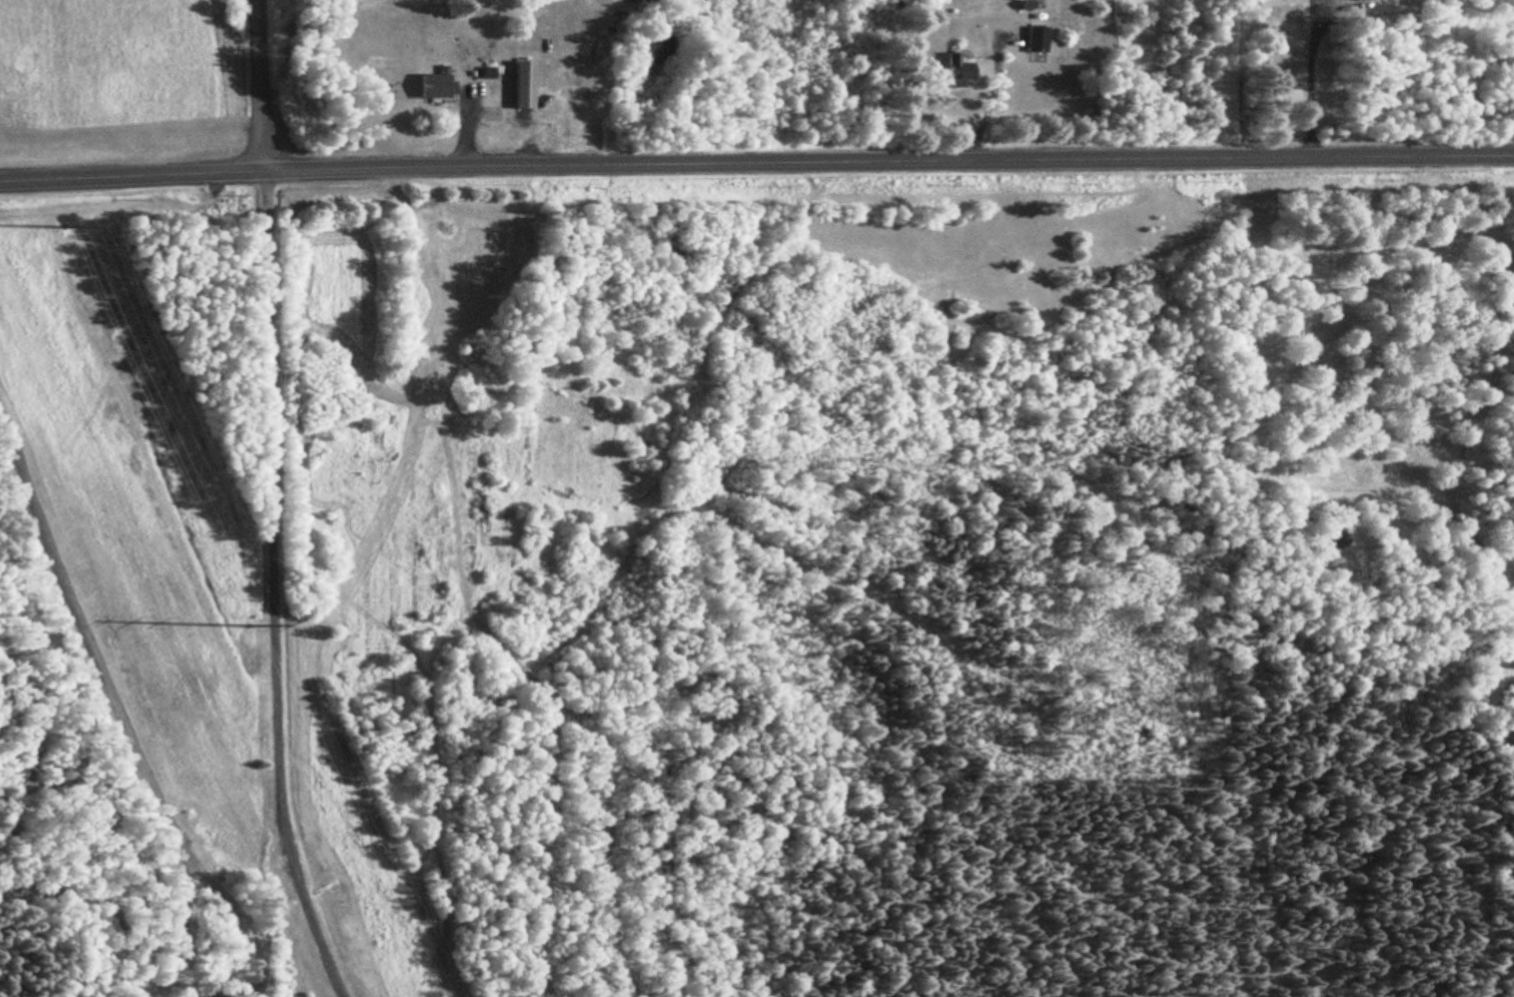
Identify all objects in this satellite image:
building: (1271, 4)
building: (1035, 41)
building: (954, 72)
road: (260, 84)
building: (525, 86)
building: (439, 87)
road: (756, 163)
power tower: (62, 229)
power tower: (247, 626)

